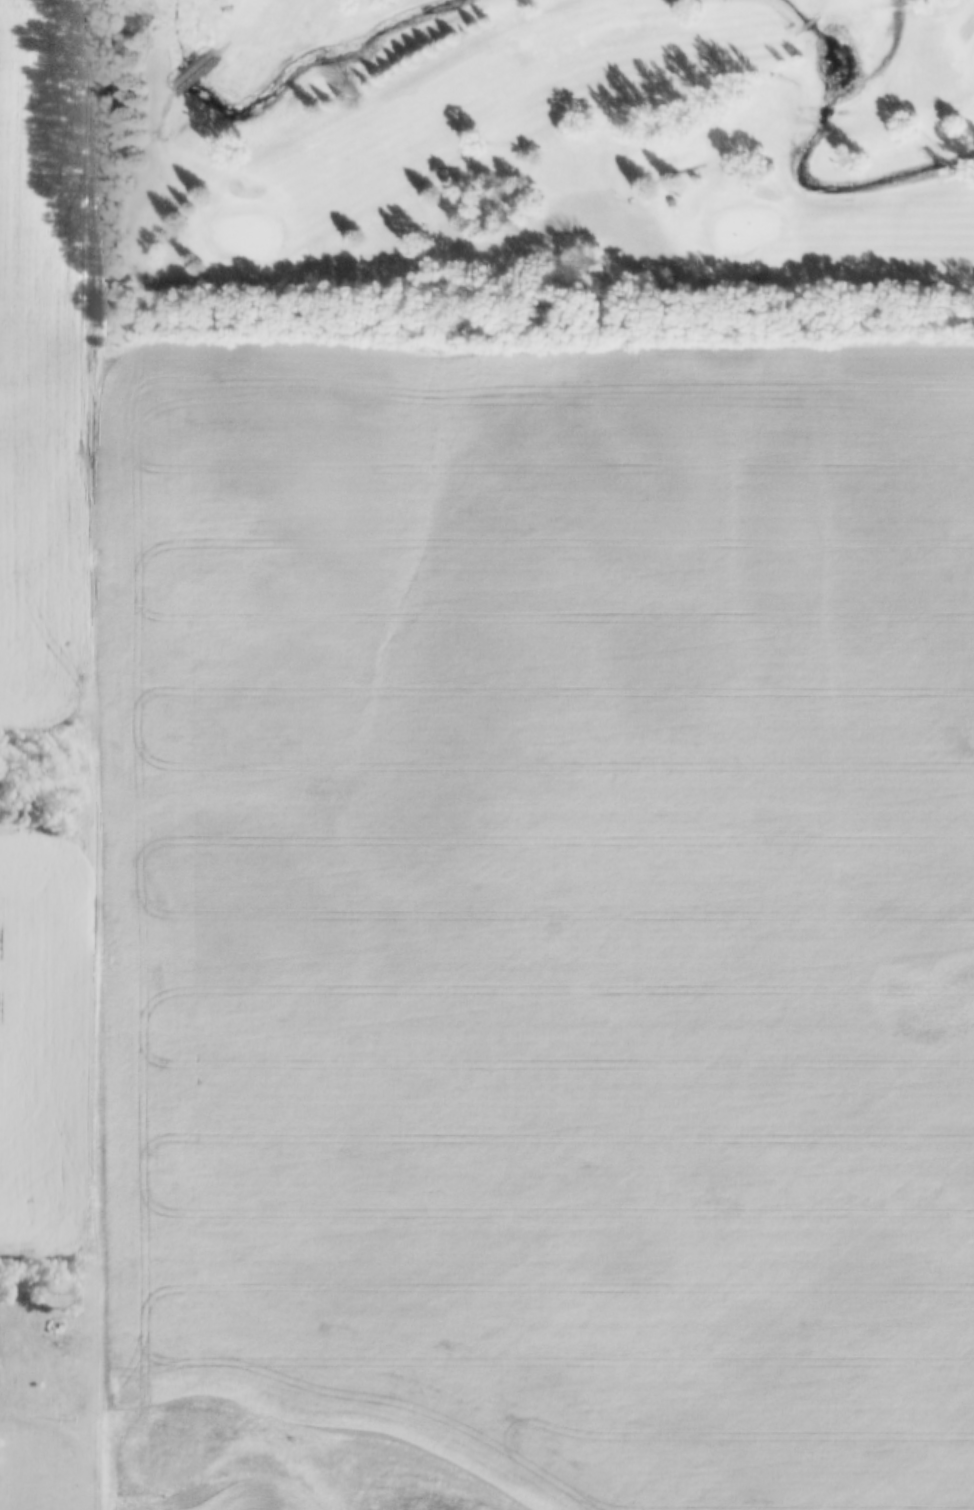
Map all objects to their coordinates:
river: (268, 79)
park: (559, 169)
river: (786, 177)
road: (98, 755)

